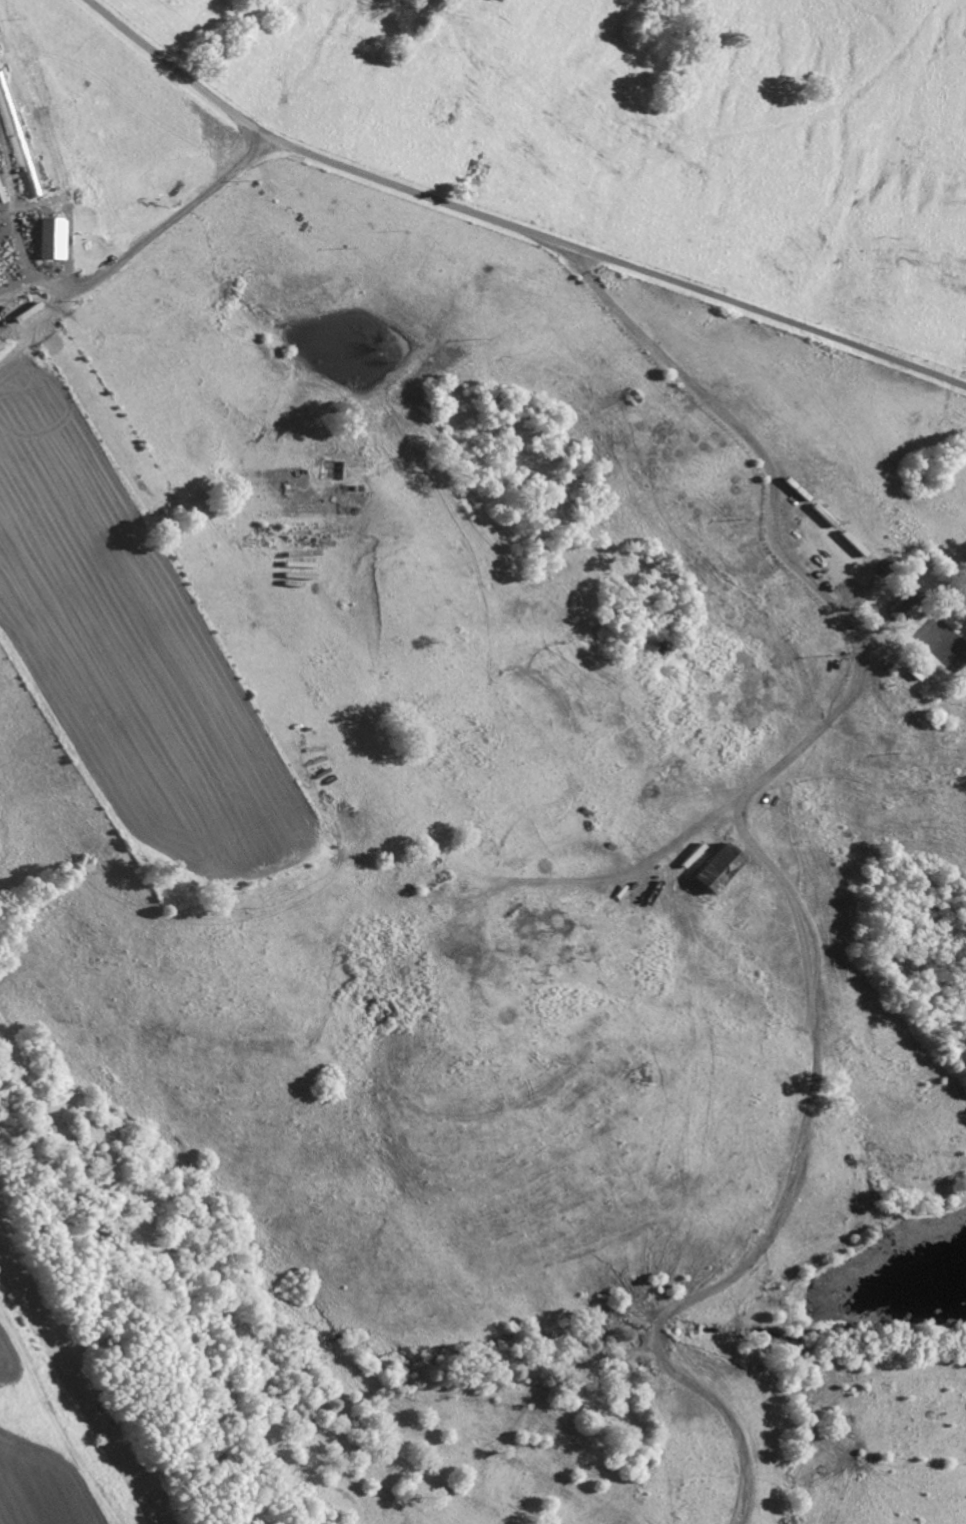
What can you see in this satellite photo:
road: (511, 223)
road: (157, 232)
building: (49, 239)
building: (898, 607)
road: (758, 854)
building: (711, 870)

